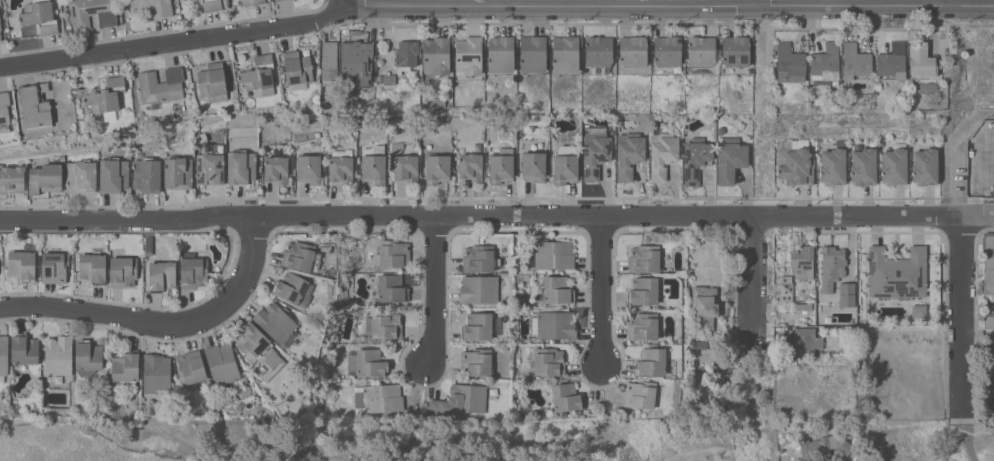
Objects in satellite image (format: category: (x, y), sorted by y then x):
building: (185, 0)
building: (193, 0)
building: (275, 0)
building: (277, 0)
building: (253, 2)
road: (347, 3)
road: (756, 3)
building: (212, 5)
road: (875, 6)
building: (153, 7)
road: (552, 7)
building: (92, 13)
building: (40, 16)
building: (0, 26)
building: (0, 37)
road: (175, 42)
building: (598, 51)
building: (633, 51)
building: (667, 51)
building: (701, 51)
building: (735, 51)
building: (500, 54)
building: (533, 54)
building: (565, 54)
building: (405, 56)
building: (436, 56)
building: (468, 56)
building: (921, 60)
building: (329, 61)
building: (855, 61)
building: (357, 62)
building: (891, 62)
building: (789, 63)
building: (825, 63)
building: (297, 70)
building: (258, 77)
building: (388, 79)
building: (212, 82)
building: (163, 88)
building: (106, 97)
building: (35, 106)
building: (4, 111)
building: (674, 122)
building: (721, 130)
building: (840, 143)
building: (397, 147)
building: (595, 151)
road: (946, 152)
building: (663, 153)
building: (629, 155)
building: (696, 159)
building: (730, 159)
building: (209, 162)
building: (373, 164)
building: (796, 164)
building: (565, 165)
building: (894, 165)
building: (341, 166)
building: (470, 166)
building: (533, 166)
building: (924, 166)
building: (240, 167)
building: (832, 167)
building: (863, 167)
building: (405, 168)
building: (437, 168)
building: (500, 168)
building: (276, 169)
building: (308, 169)
building: (178, 173)
building: (113, 175)
building: (147, 175)
building: (81, 177)
building: (11, 180)
building: (45, 180)
road: (981, 218)
road: (484, 219)
building: (148, 249)
building: (393, 254)
building: (553, 254)
building: (301, 256)
building: (479, 258)
building: (644, 258)
building: (988, 261)
building: (802, 262)
building: (22, 263)
building: (54, 267)
building: (831, 267)
building: (93, 268)
building: (123, 271)
building: (193, 271)
building: (897, 273)
building: (161, 276)
road: (754, 277)
building: (391, 288)
building: (786, 288)
building: (293, 289)
building: (479, 289)
building: (558, 290)
building: (644, 291)
road: (434, 292)
road: (603, 293)
building: (847, 294)
building: (833, 303)
building: (989, 304)
building: (704, 306)
building: (801, 306)
building: (919, 311)
road: (960, 311)
building: (847, 321)
building: (989, 322)
building: (277, 323)
building: (384, 324)
building: (554, 325)
building: (643, 326)
road: (161, 327)
building: (480, 327)
building: (803, 342)
building: (699, 345)
building: (24, 349)
building: (258, 351)
building: (701, 353)
building: (3, 356)
building: (87, 357)
building: (58, 359)
building: (476, 361)
building: (548, 361)
building: (366, 362)
building: (651, 362)
building: (222, 363)
building: (190, 367)
building: (125, 369)
building: (156, 373)
building: (640, 394)
building: (566, 397)
building: (379, 398)
building: (460, 400)
building: (577, 412)
park: (924, 438)
road: (970, 445)
building: (824, 446)

